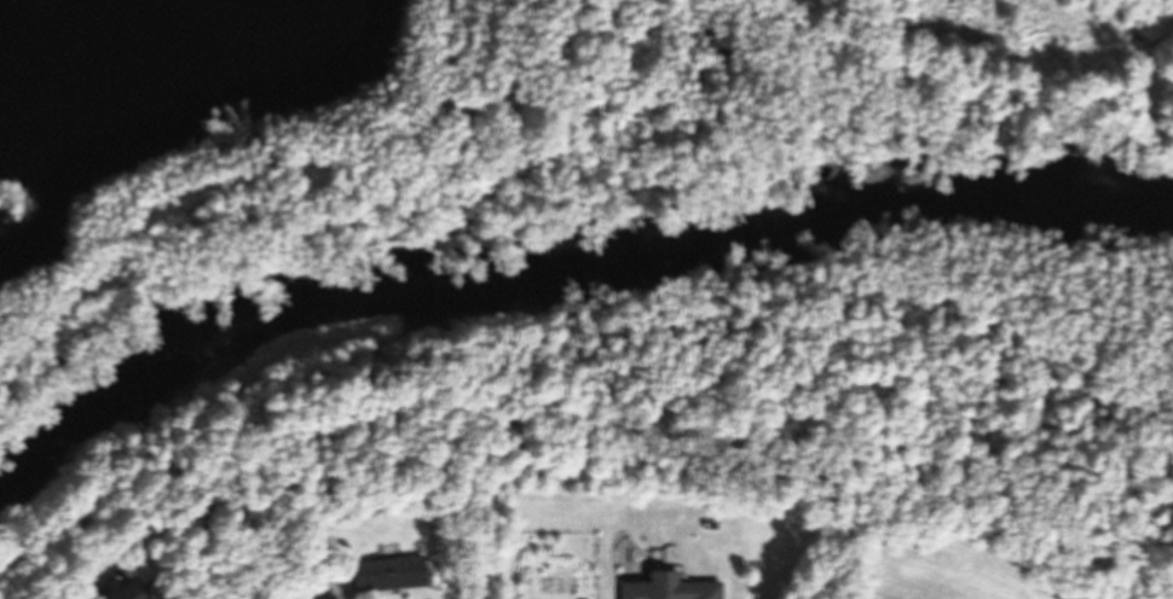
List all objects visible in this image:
quarry: (416, 128)
river: (582, 287)
building: (386, 574)
building: (666, 591)
building: (126, 593)

